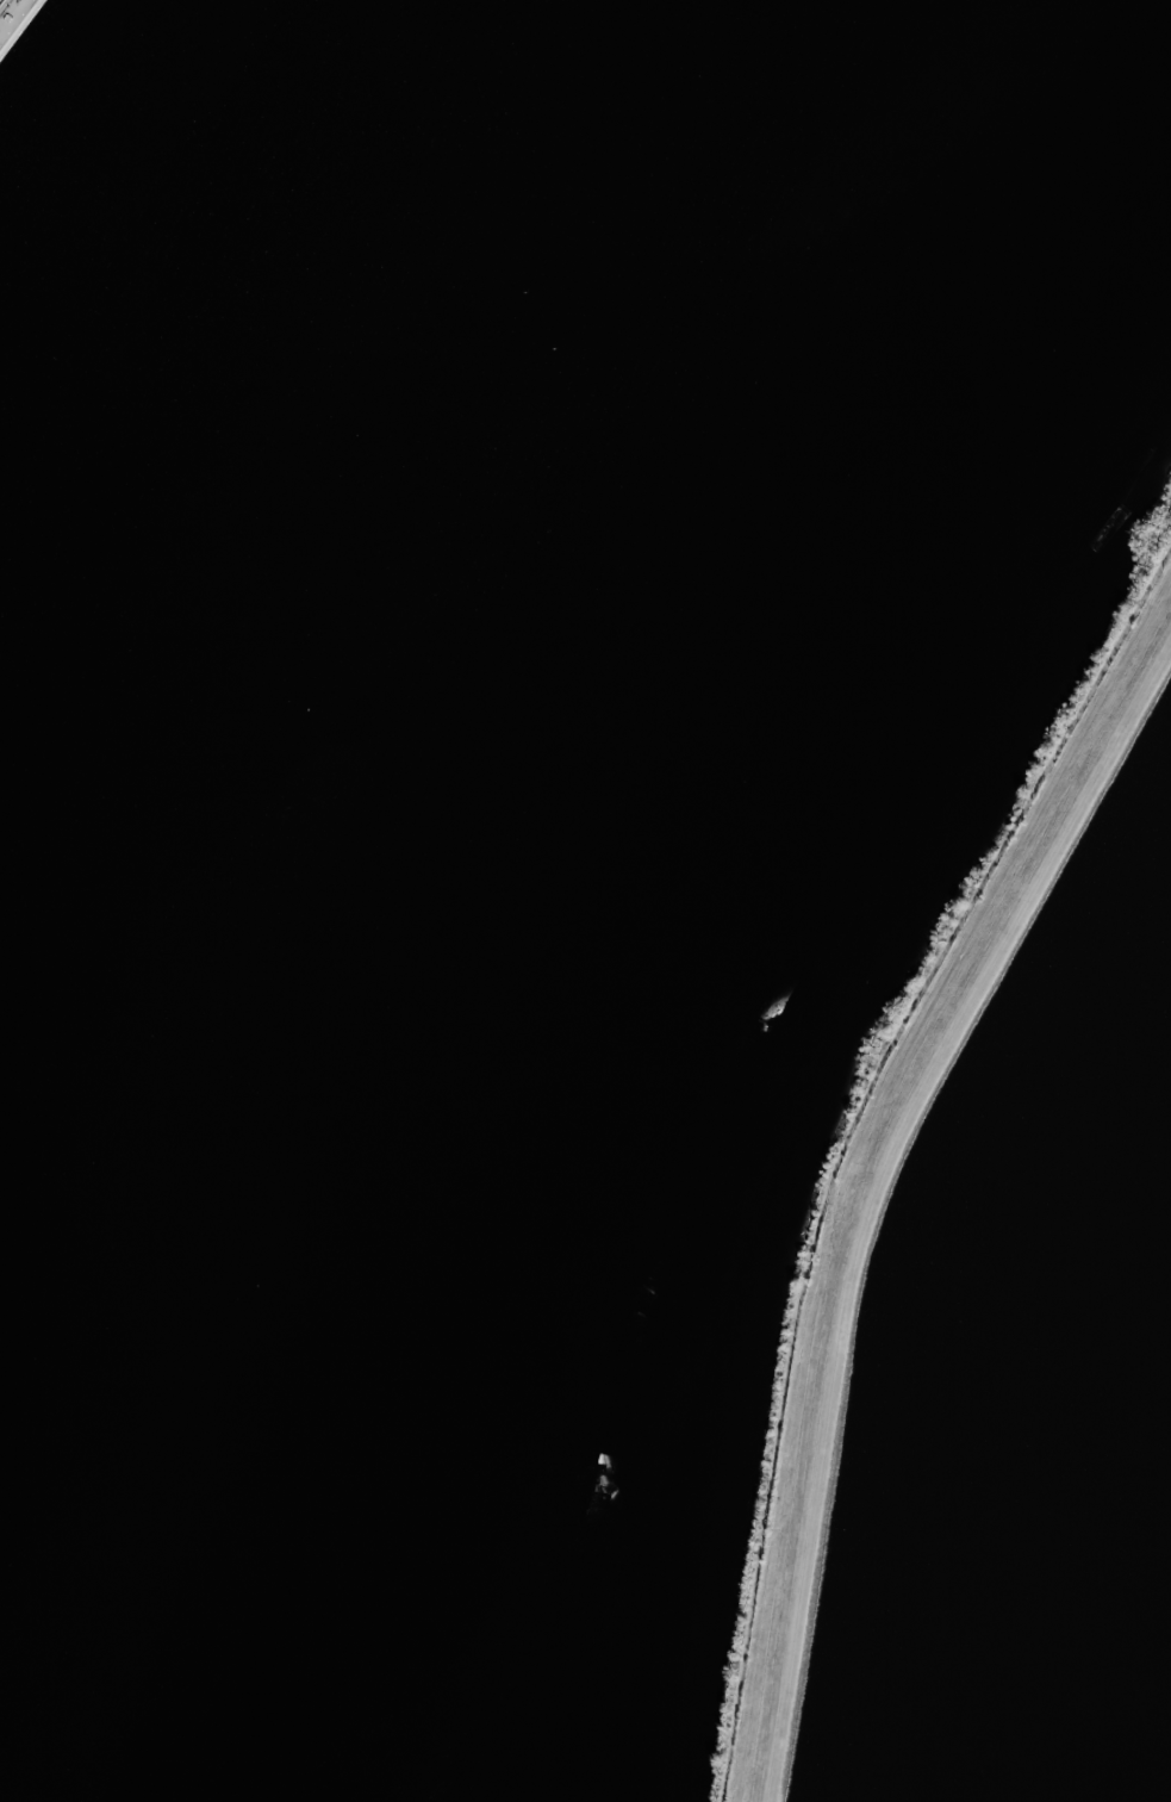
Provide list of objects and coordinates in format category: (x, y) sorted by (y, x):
river: (345, 808)

